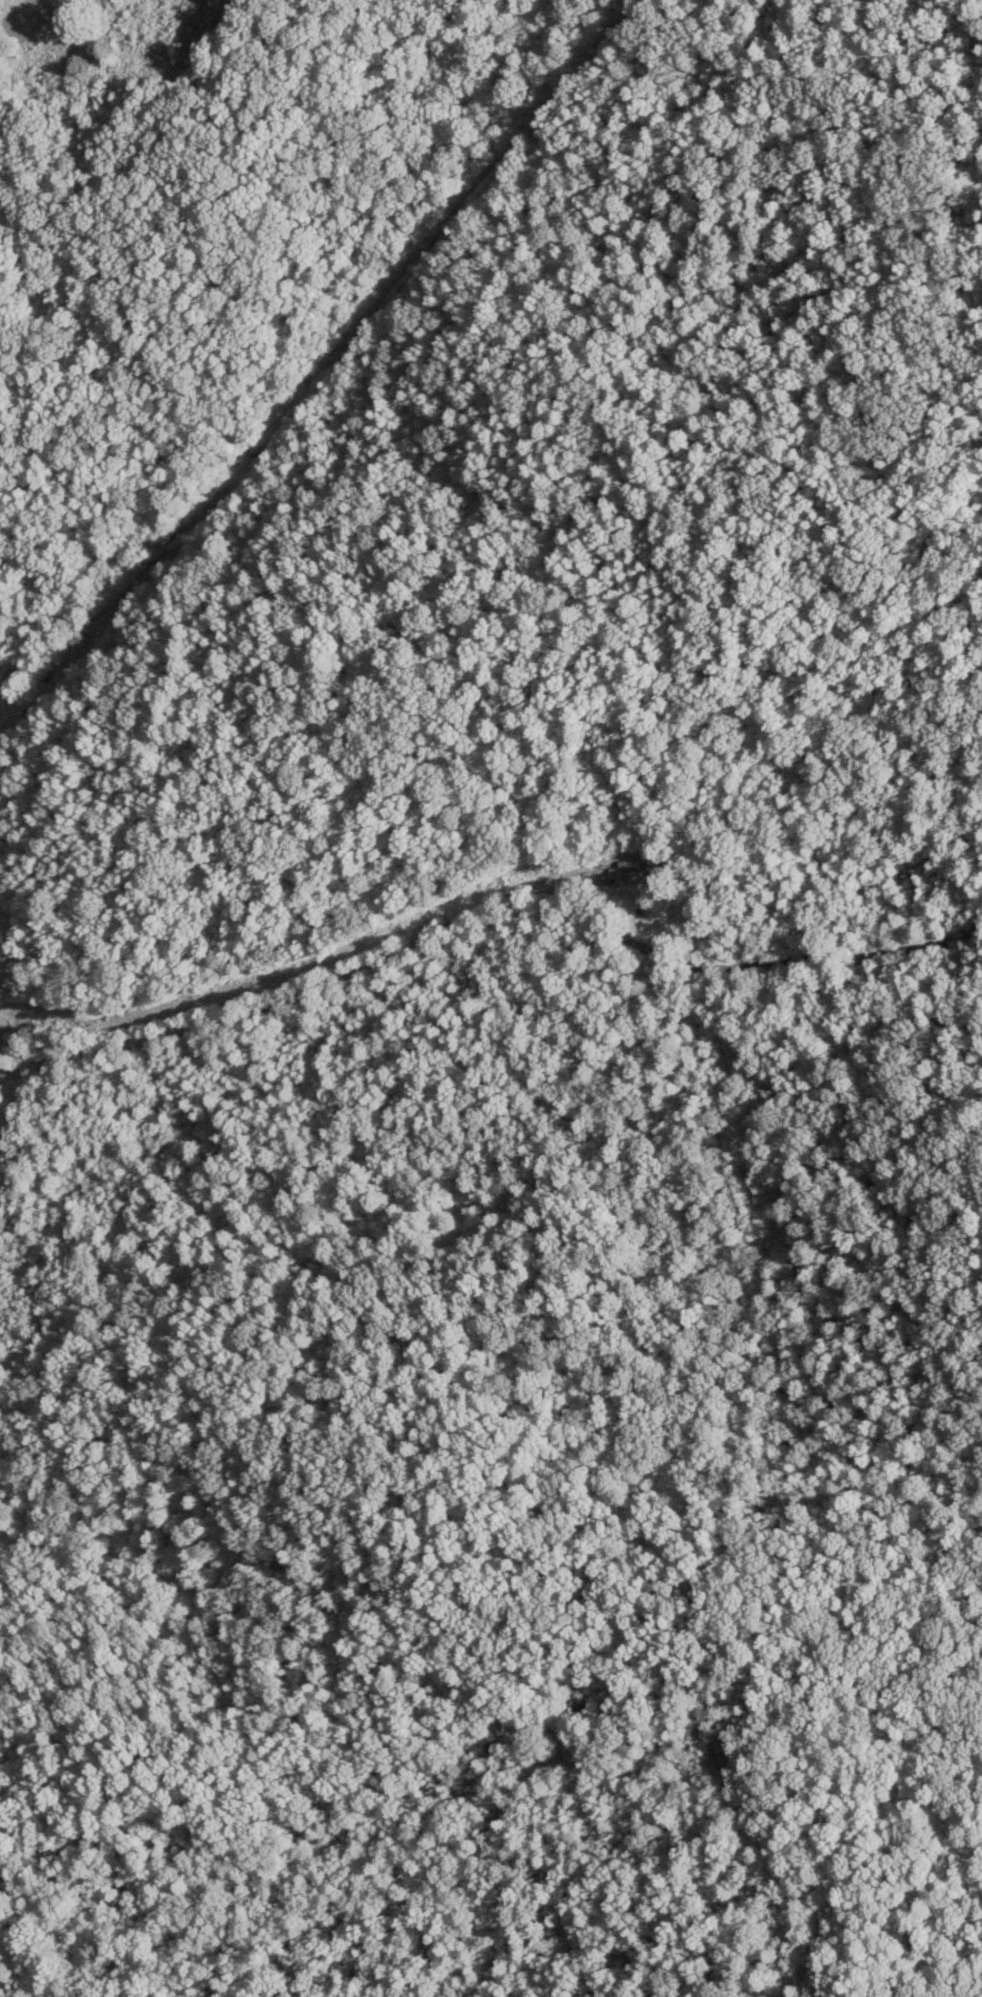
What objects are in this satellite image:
building: (636, 872)
road: (484, 921)

